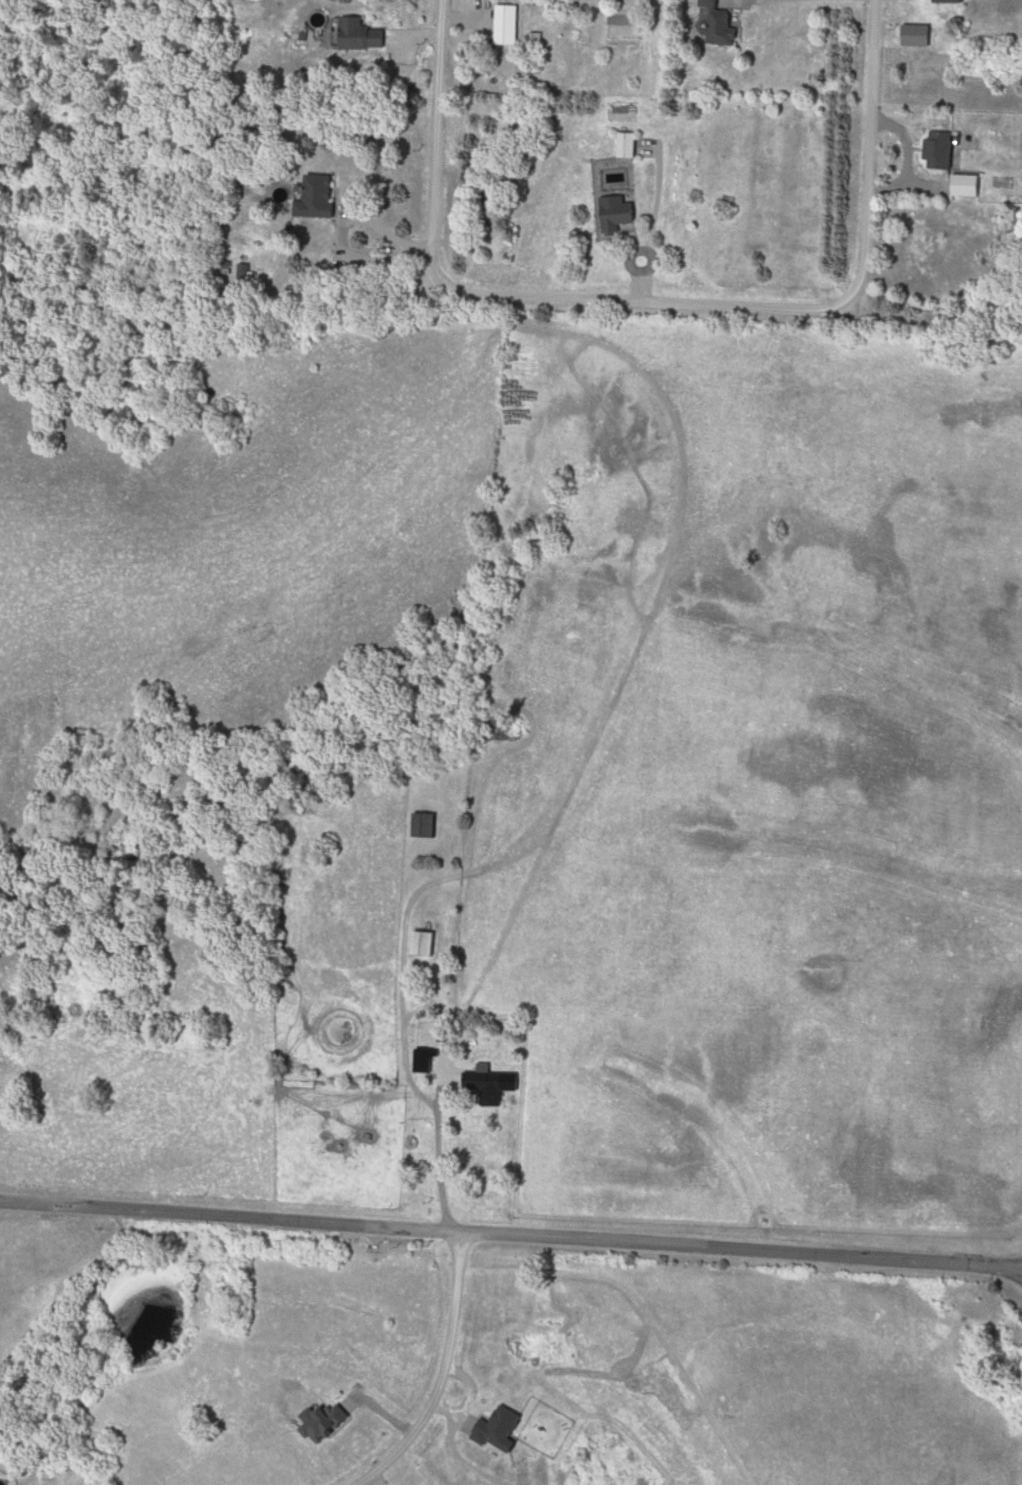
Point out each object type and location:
building: (952, 1)
building: (359, 35)
road: (869, 101)
road: (437, 137)
building: (629, 145)
building: (943, 151)
building: (619, 218)
building: (928, 252)
road: (689, 303)
building: (423, 825)
building: (423, 944)
road: (408, 1047)
building: (487, 1087)
road: (482, 1233)
road: (993, 1265)
building: (405, 1350)
road: (437, 1376)

